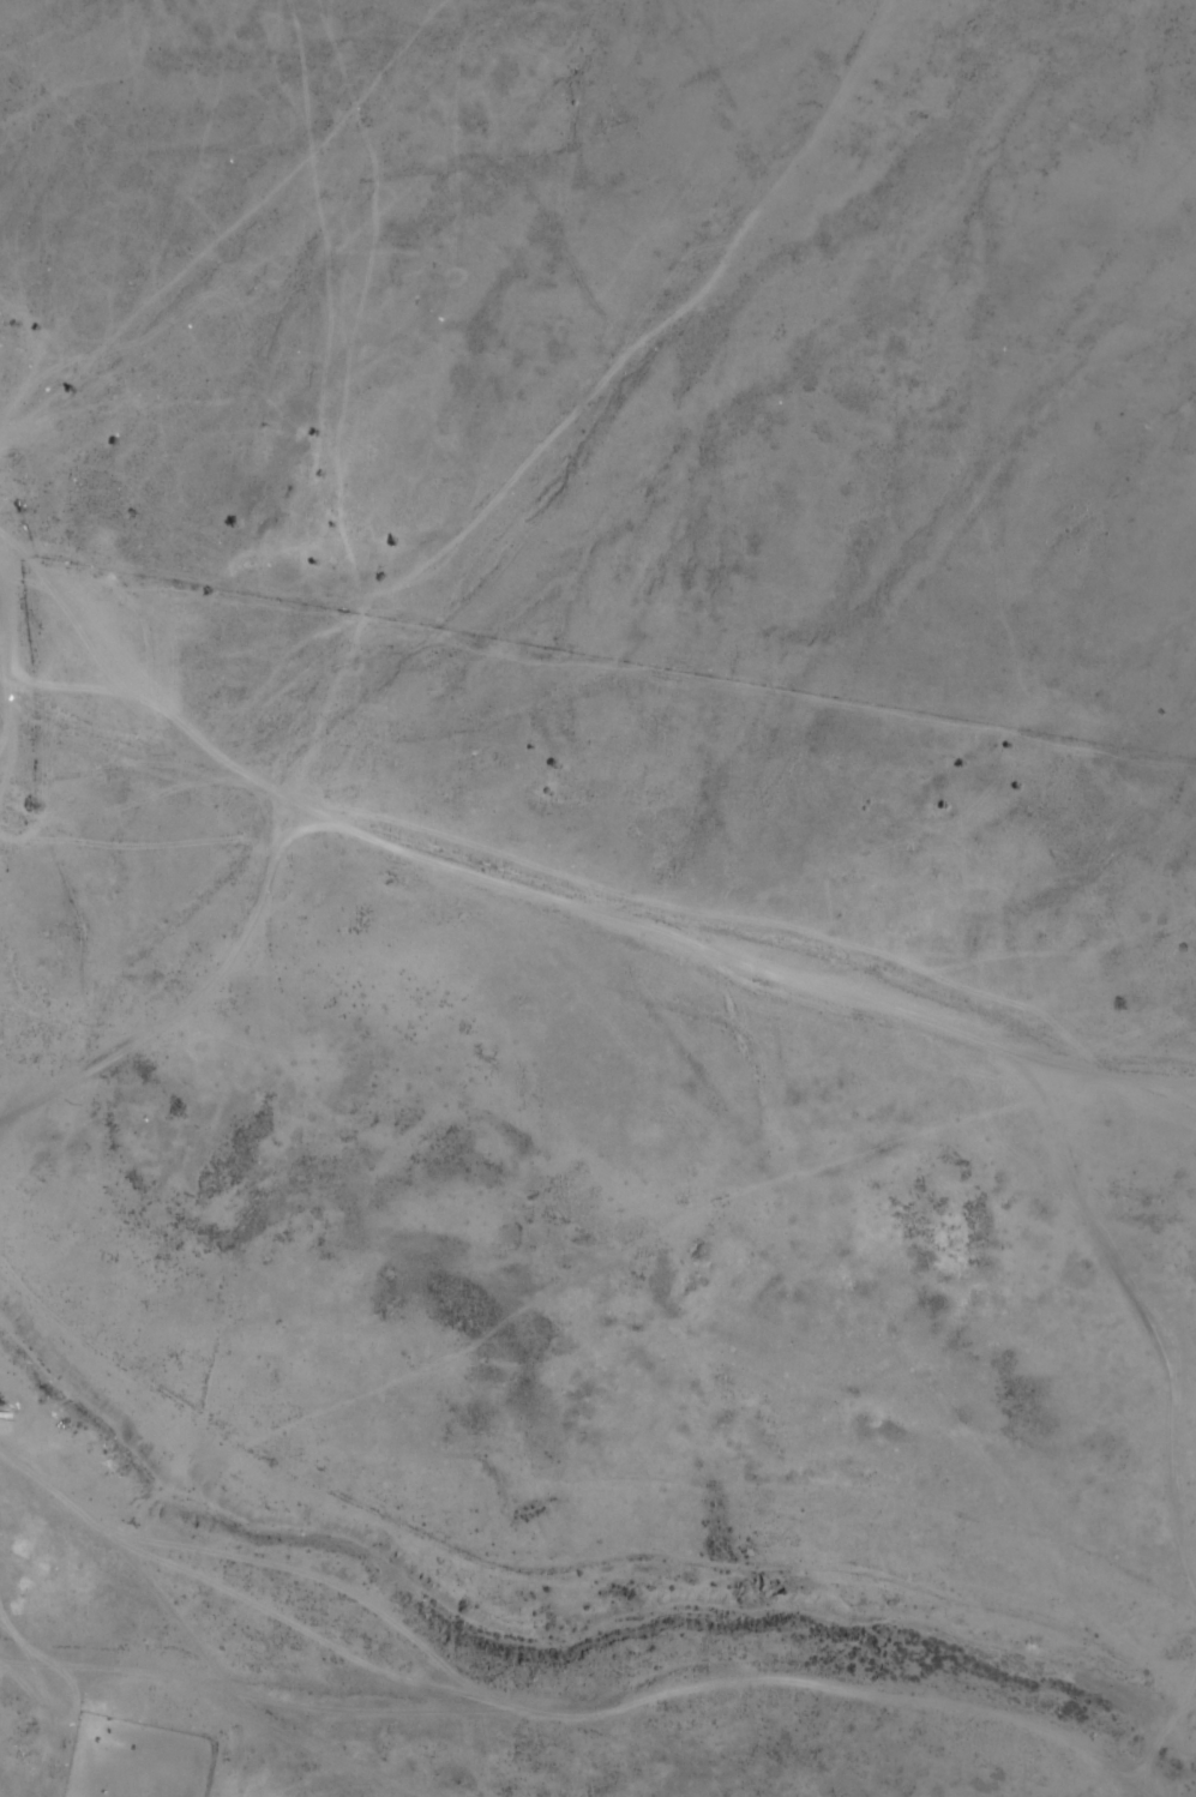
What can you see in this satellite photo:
road: (136, 738)
road: (307, 767)

